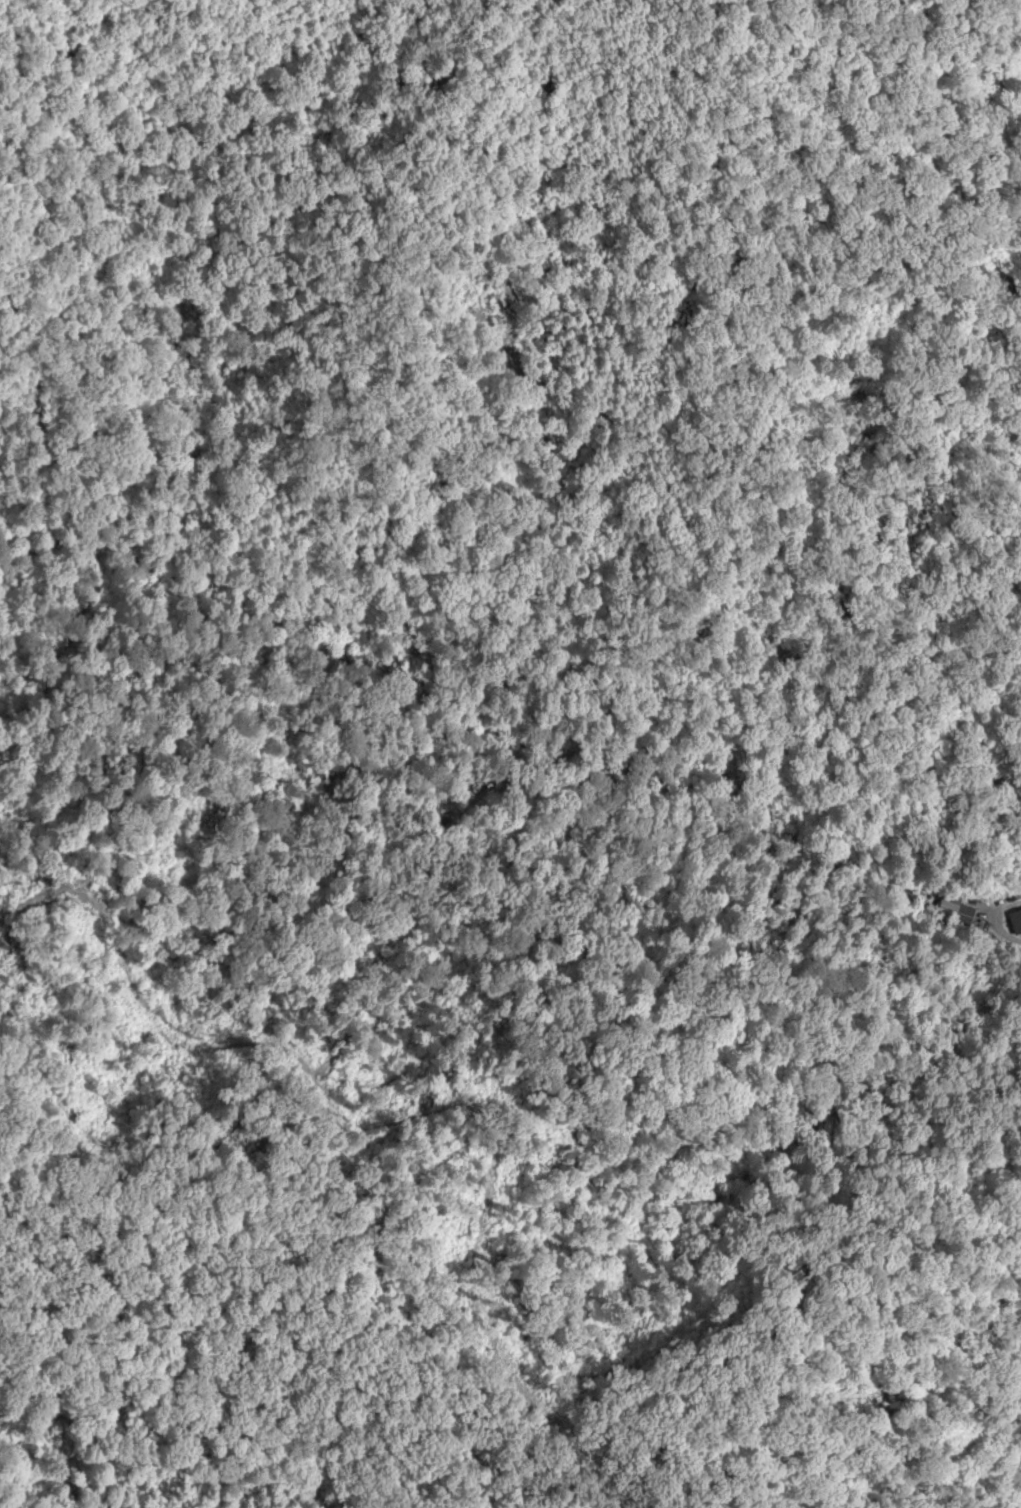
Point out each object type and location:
building: (957, 915)
building: (1016, 921)

